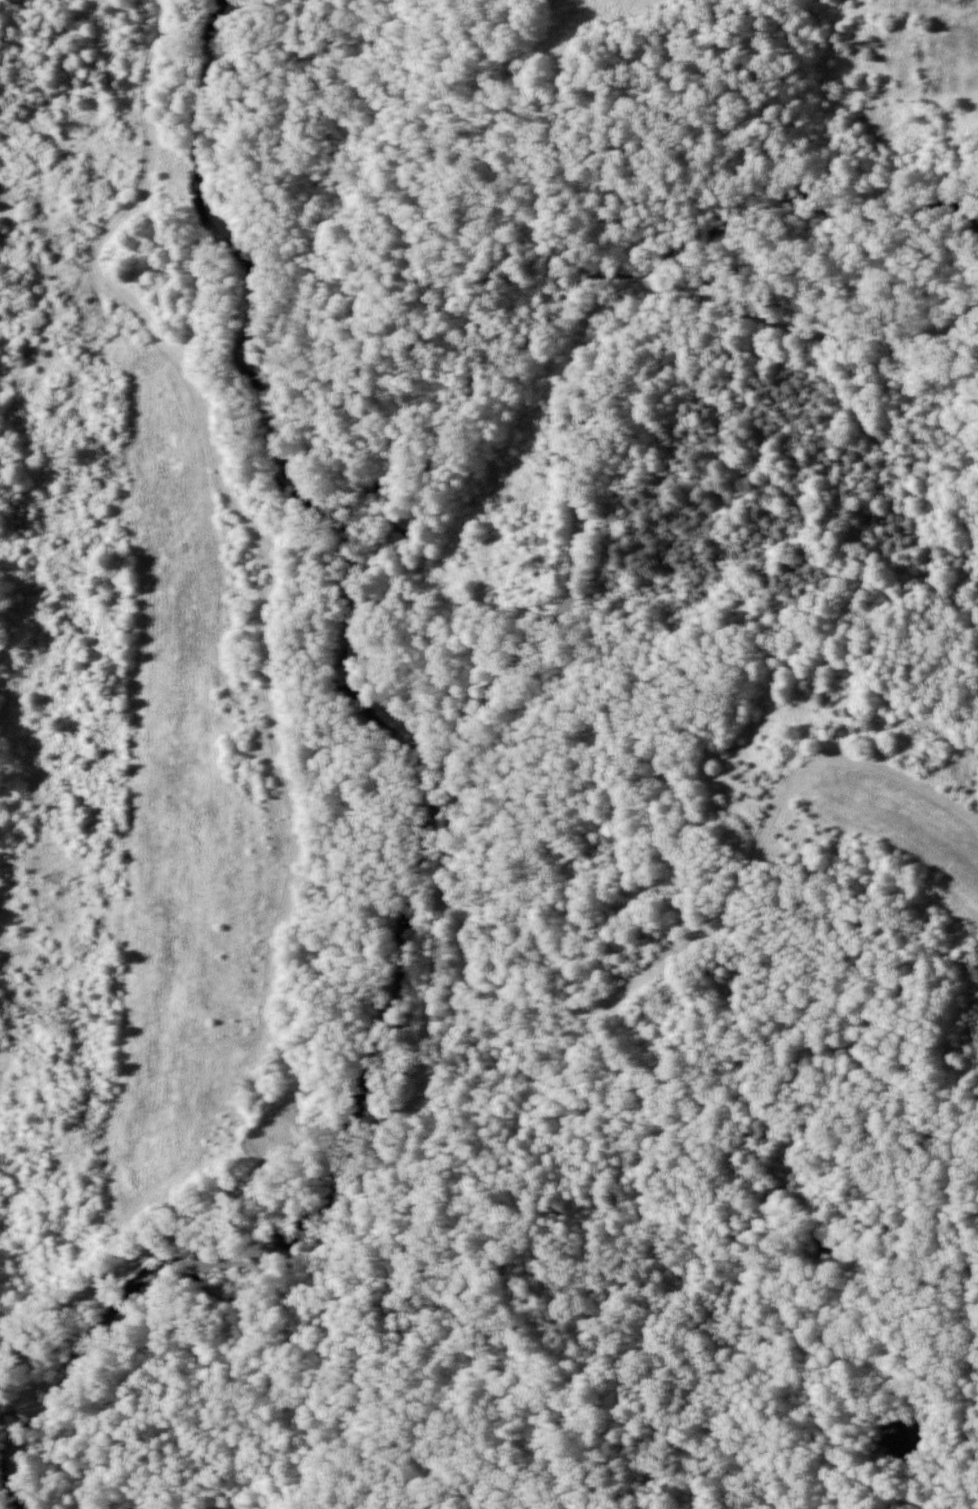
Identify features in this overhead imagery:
road: (468, 751)

